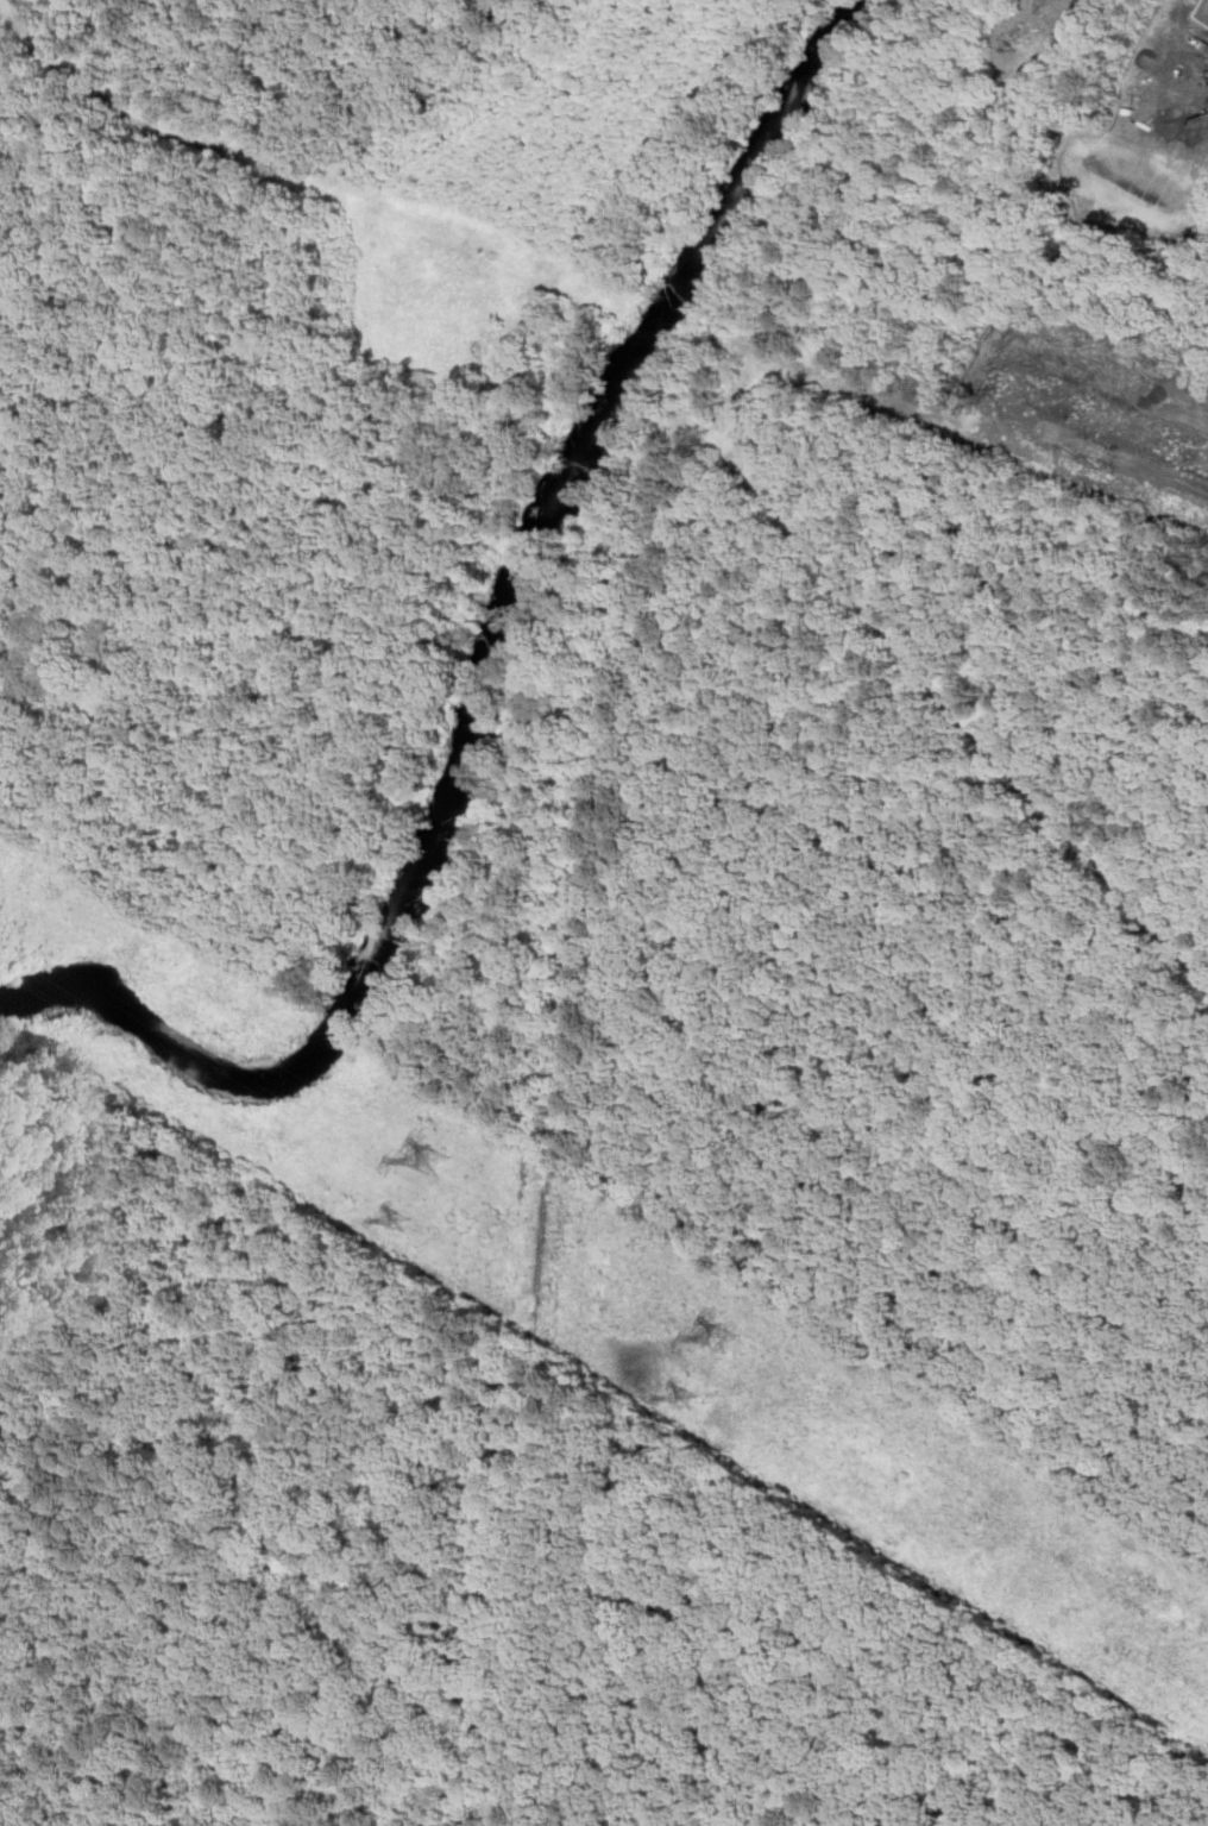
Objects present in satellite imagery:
river: (487, 679)
power tower: (434, 1161)
power tower: (410, 1224)
power tower: (724, 1341)
power tower: (692, 1400)

